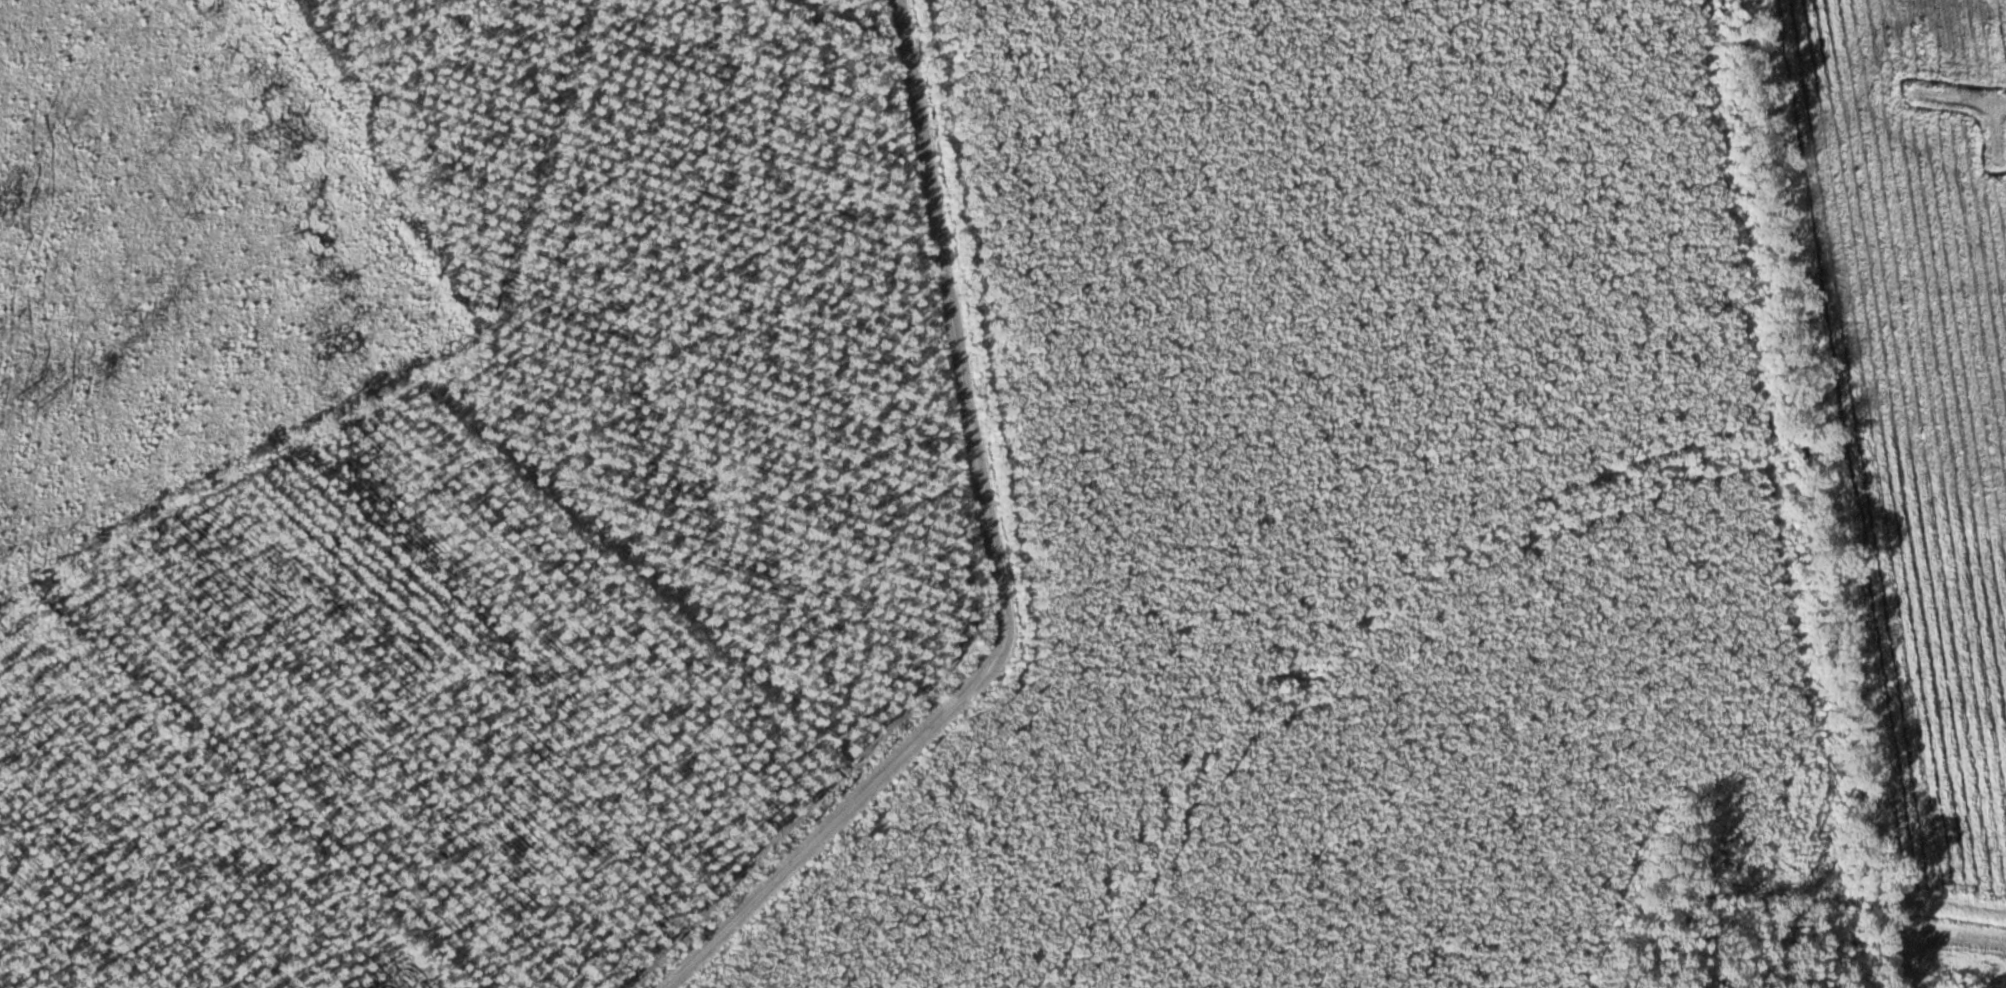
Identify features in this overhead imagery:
road: (990, 556)

